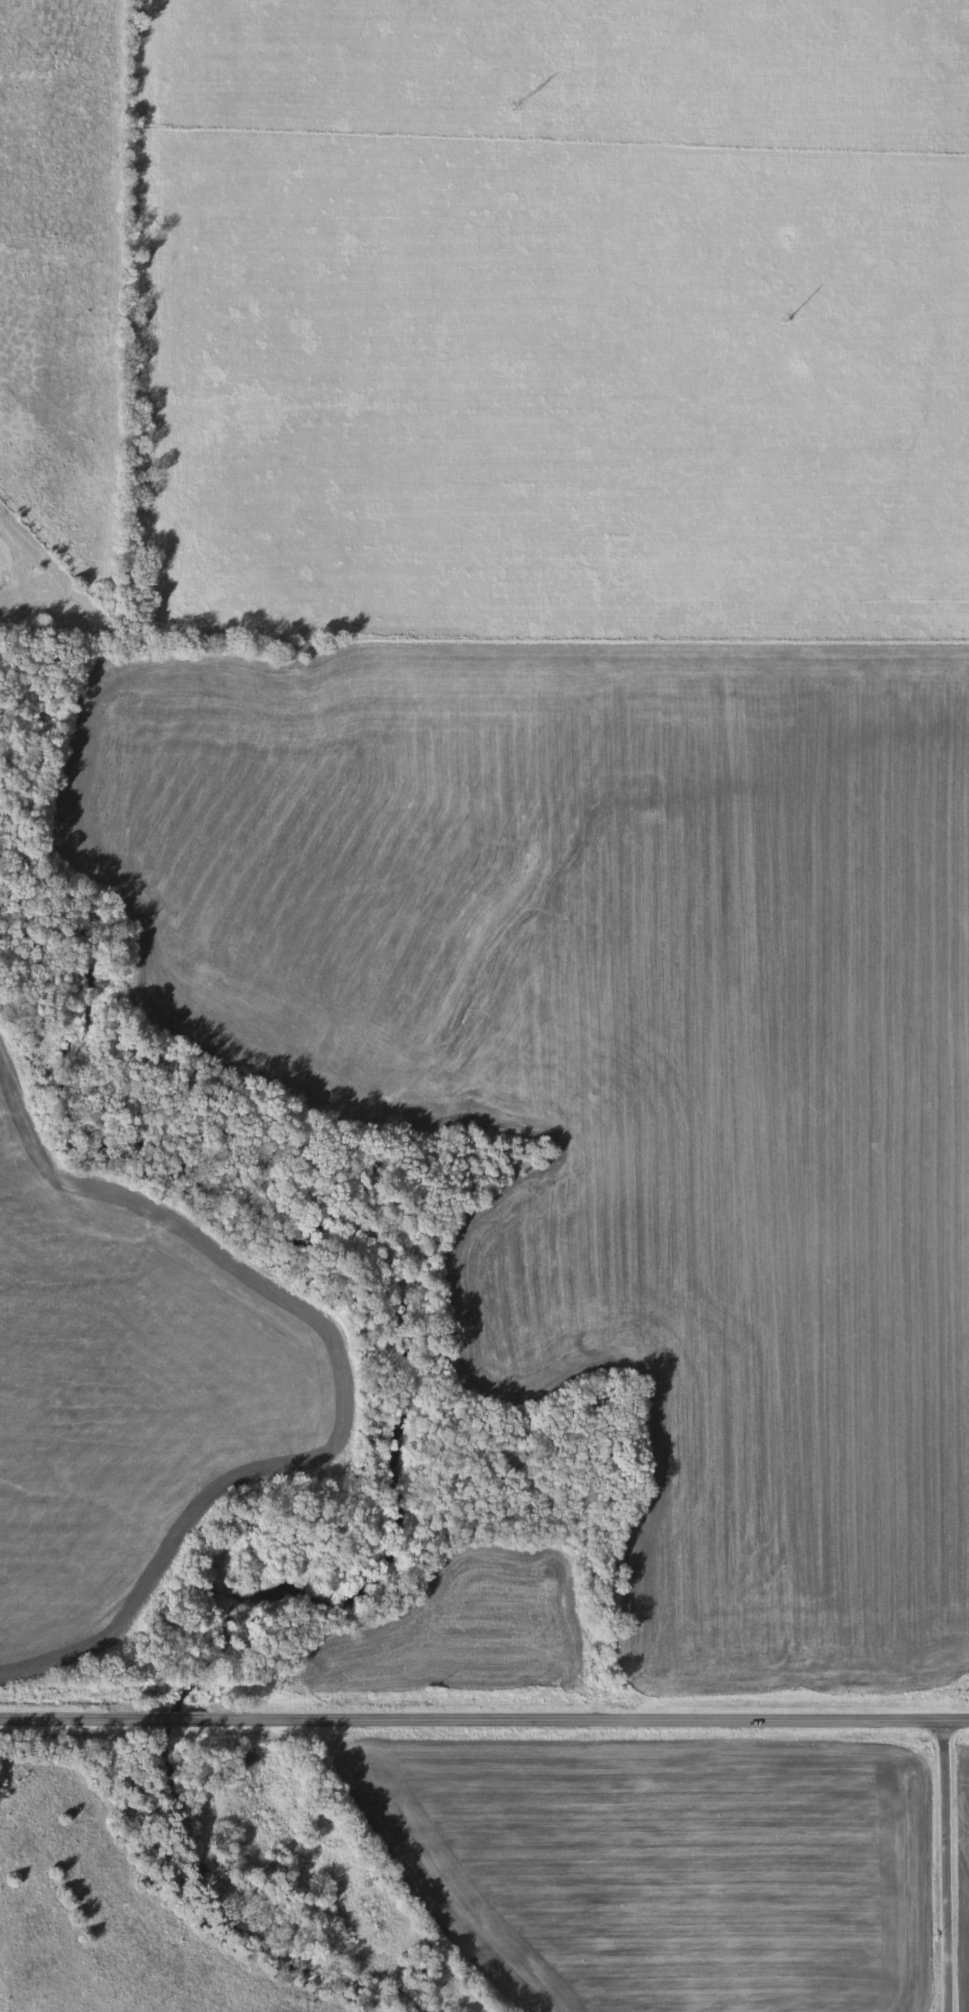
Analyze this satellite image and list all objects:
power tower: (516, 105)
power tower: (790, 316)
road: (599, 1612)
road: (484, 1718)
road: (296, 1866)
road: (948, 1869)

